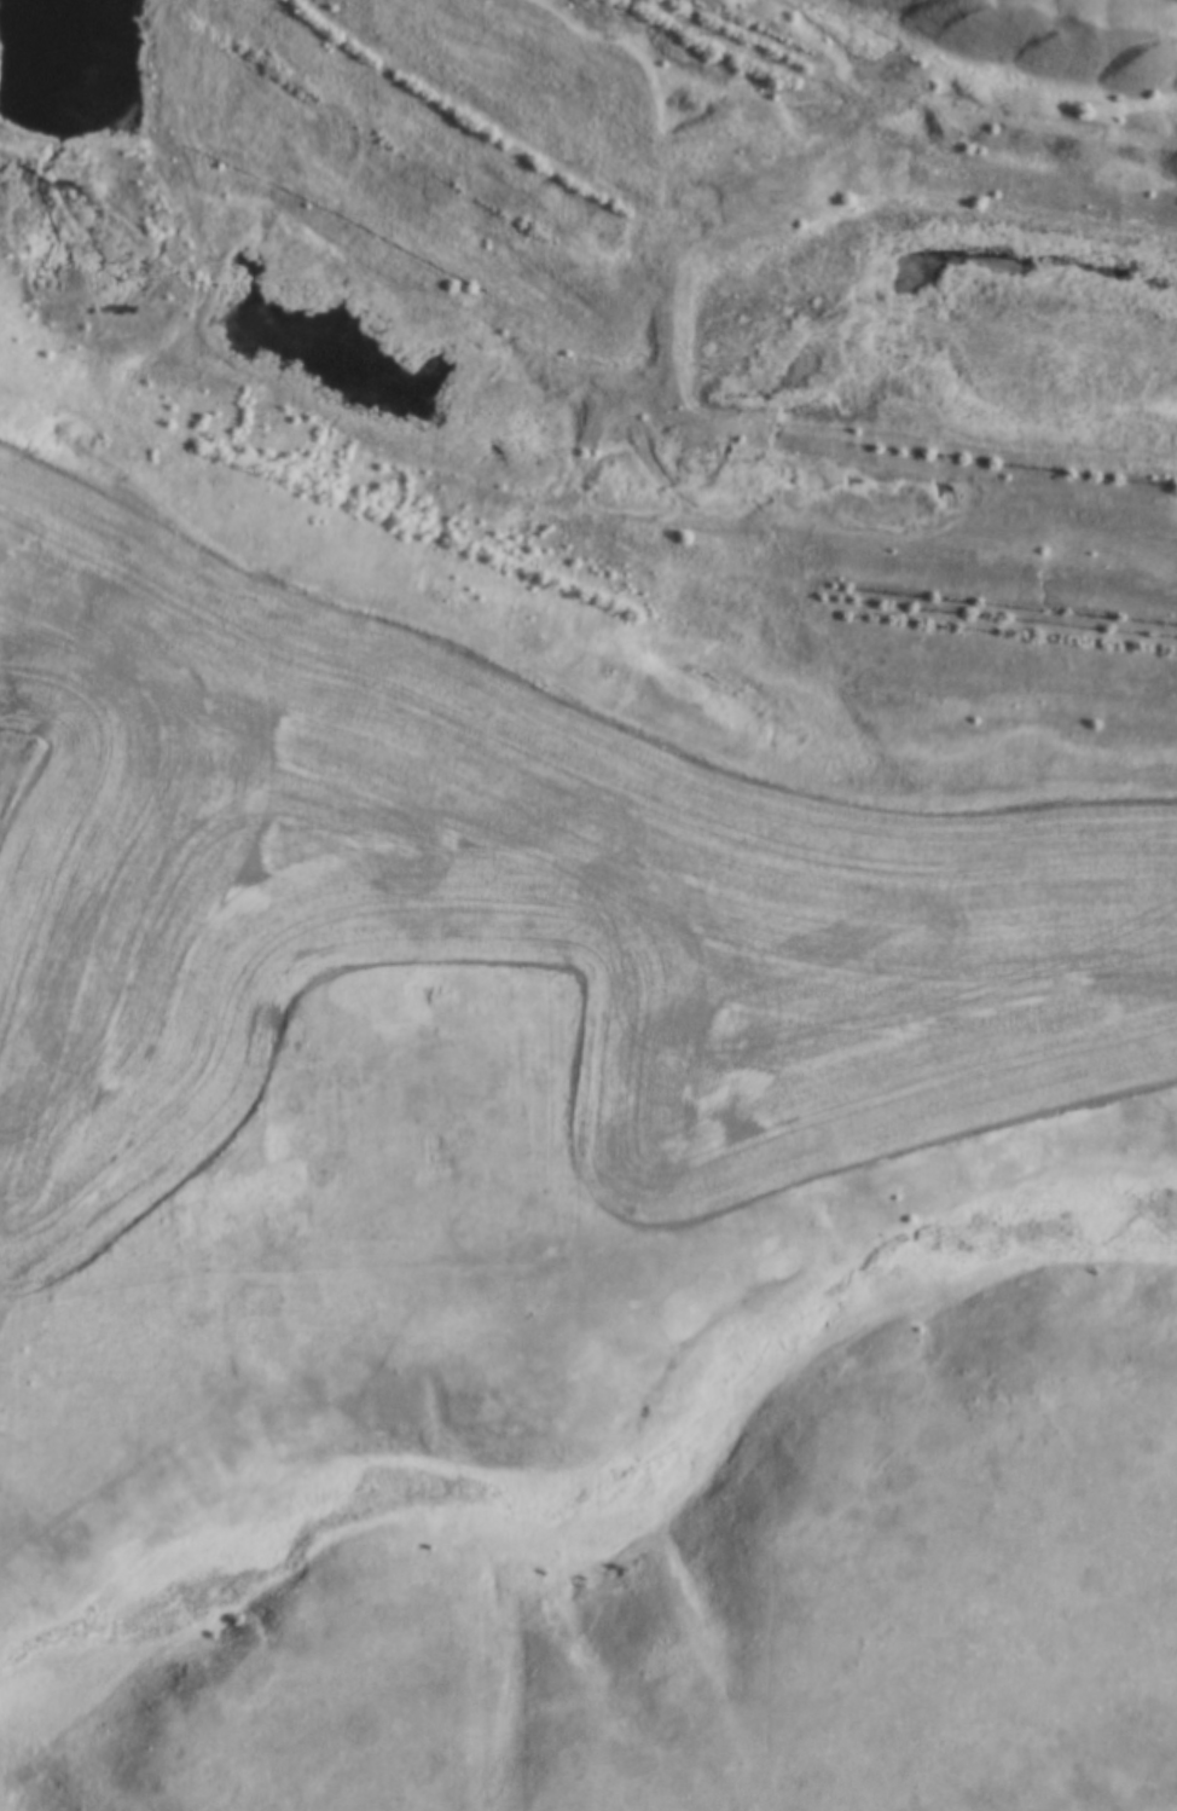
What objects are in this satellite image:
quarry: (656, 307)

